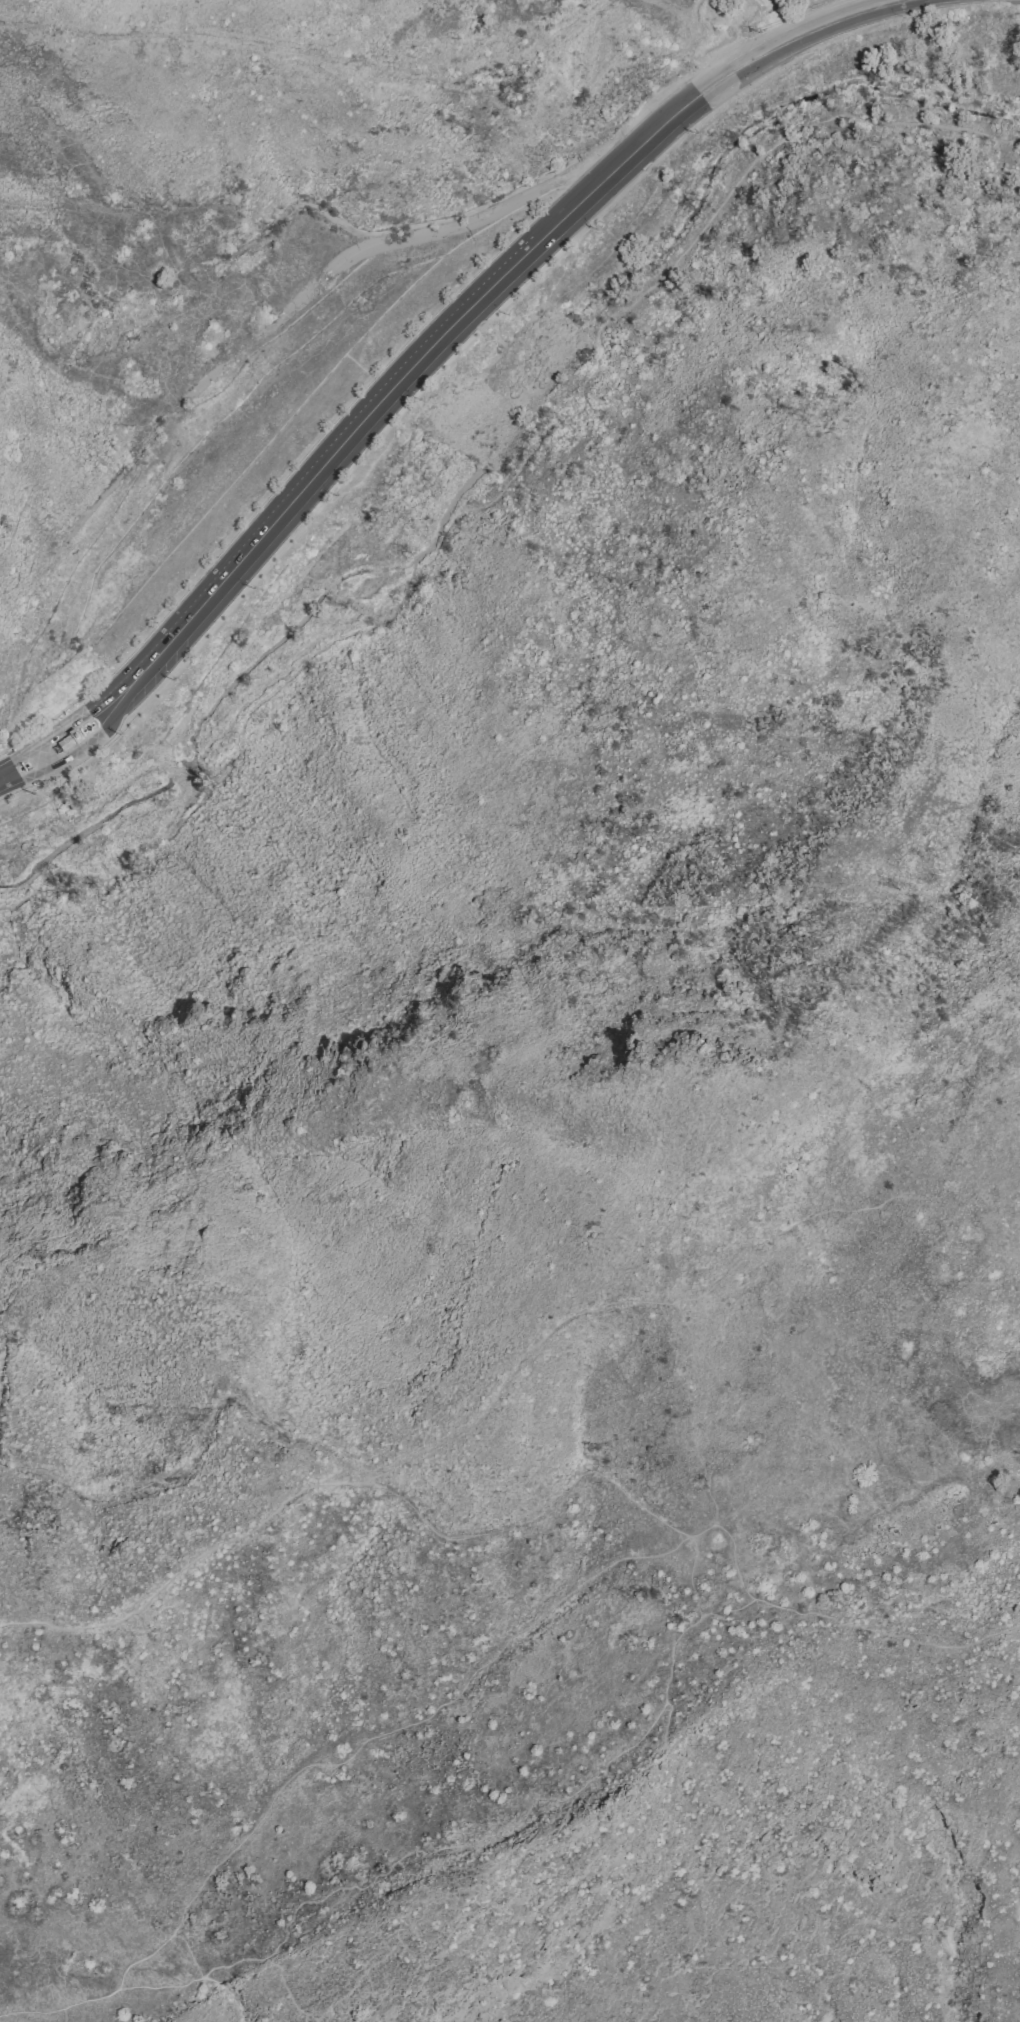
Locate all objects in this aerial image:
road: (706, 38)
road: (780, 43)
road: (418, 222)
road: (404, 374)
road: (497, 496)
road: (108, 693)
road: (90, 738)
road: (31, 747)
road: (621, 1301)
road: (198, 1445)
road: (188, 1567)
road: (690, 1576)
road: (830, 1616)
road: (672, 1646)
road: (483, 1666)
road: (396, 1859)
road: (204, 1975)

